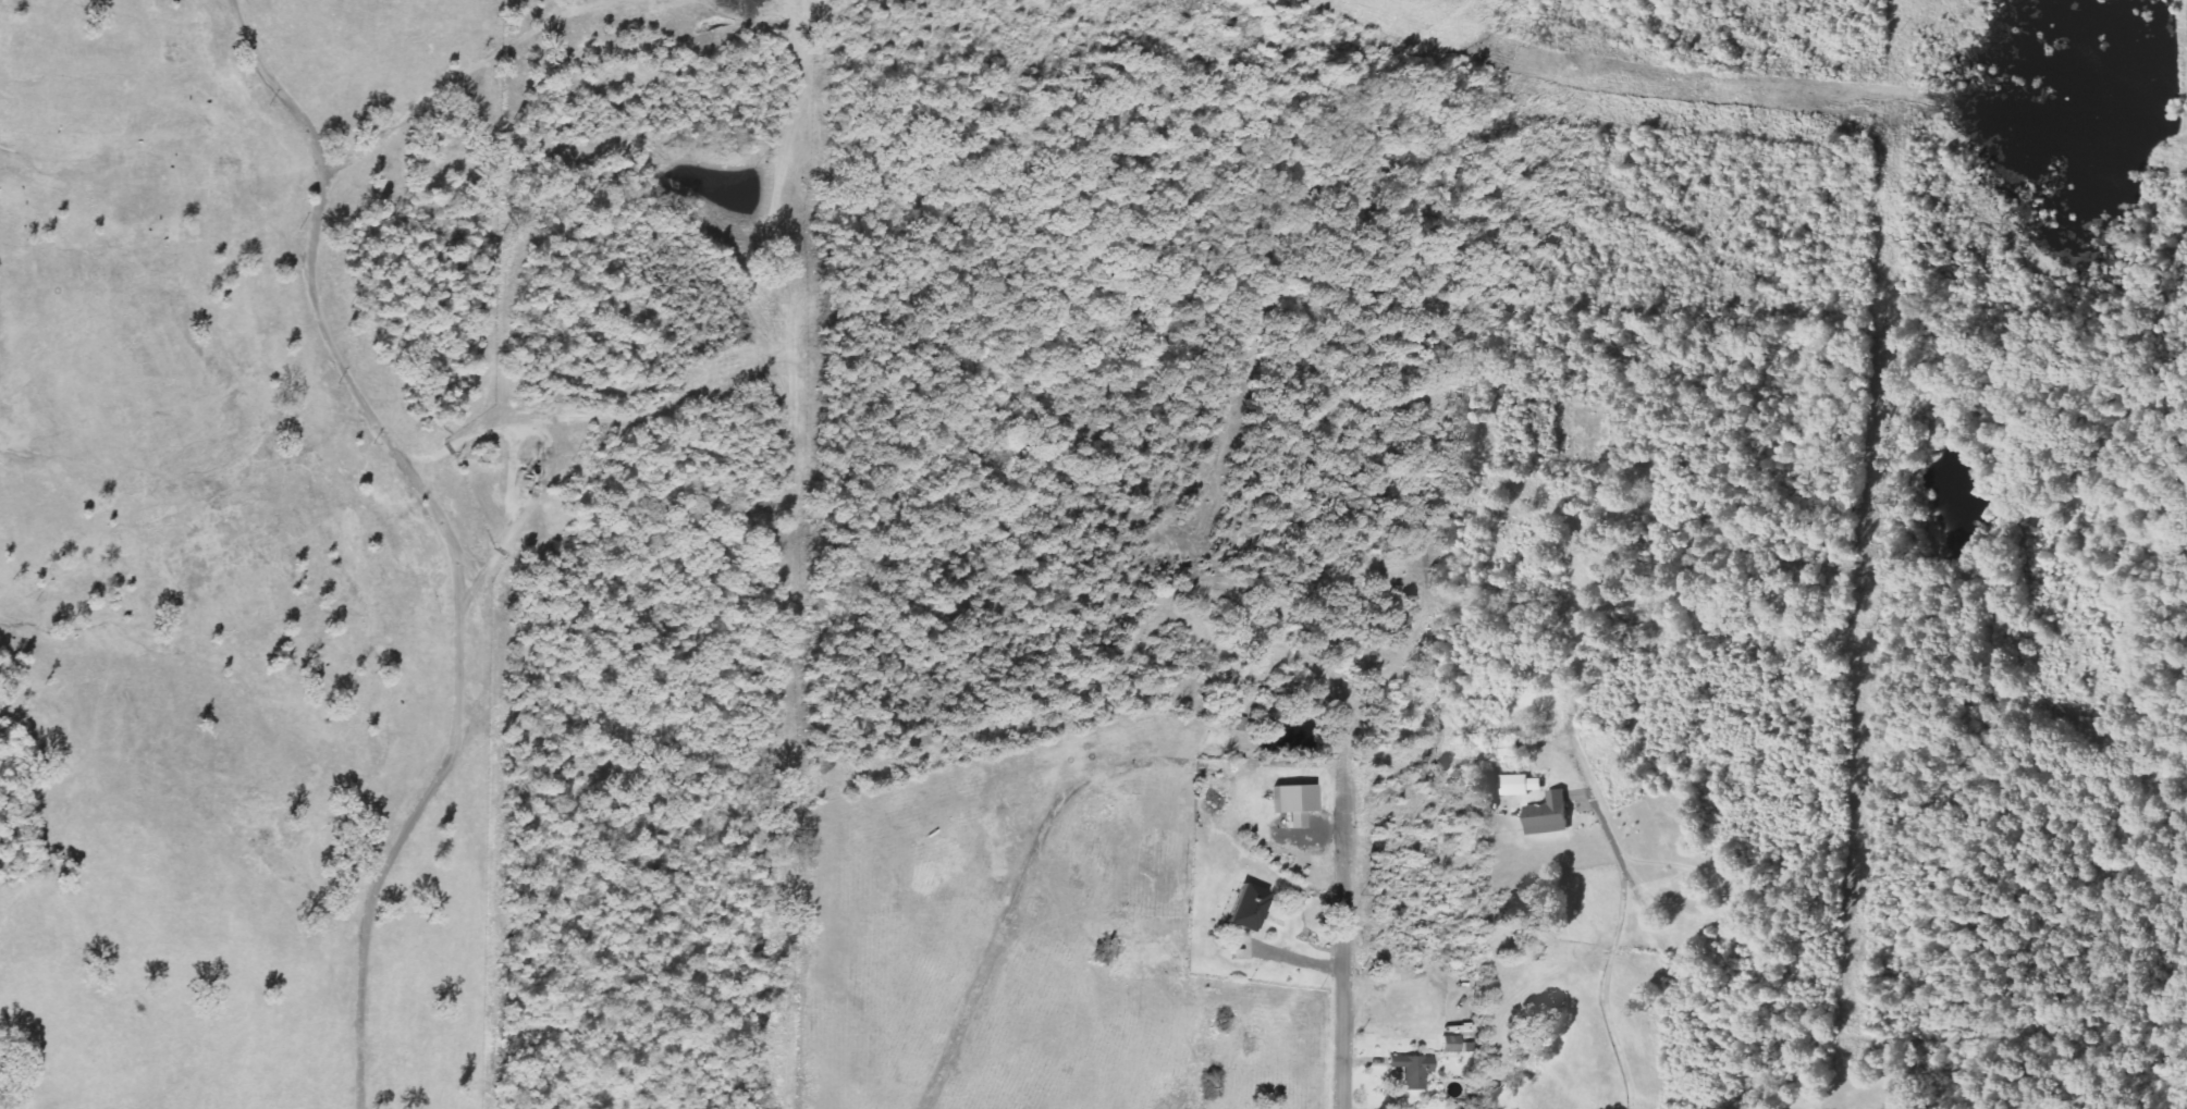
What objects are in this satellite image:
road: (451, 543)
building: (1510, 748)
building: (1522, 786)
building: (1299, 804)
building: (1551, 816)
building: (1251, 910)
road: (1342, 932)
building: (1452, 1046)
building: (1415, 1072)

